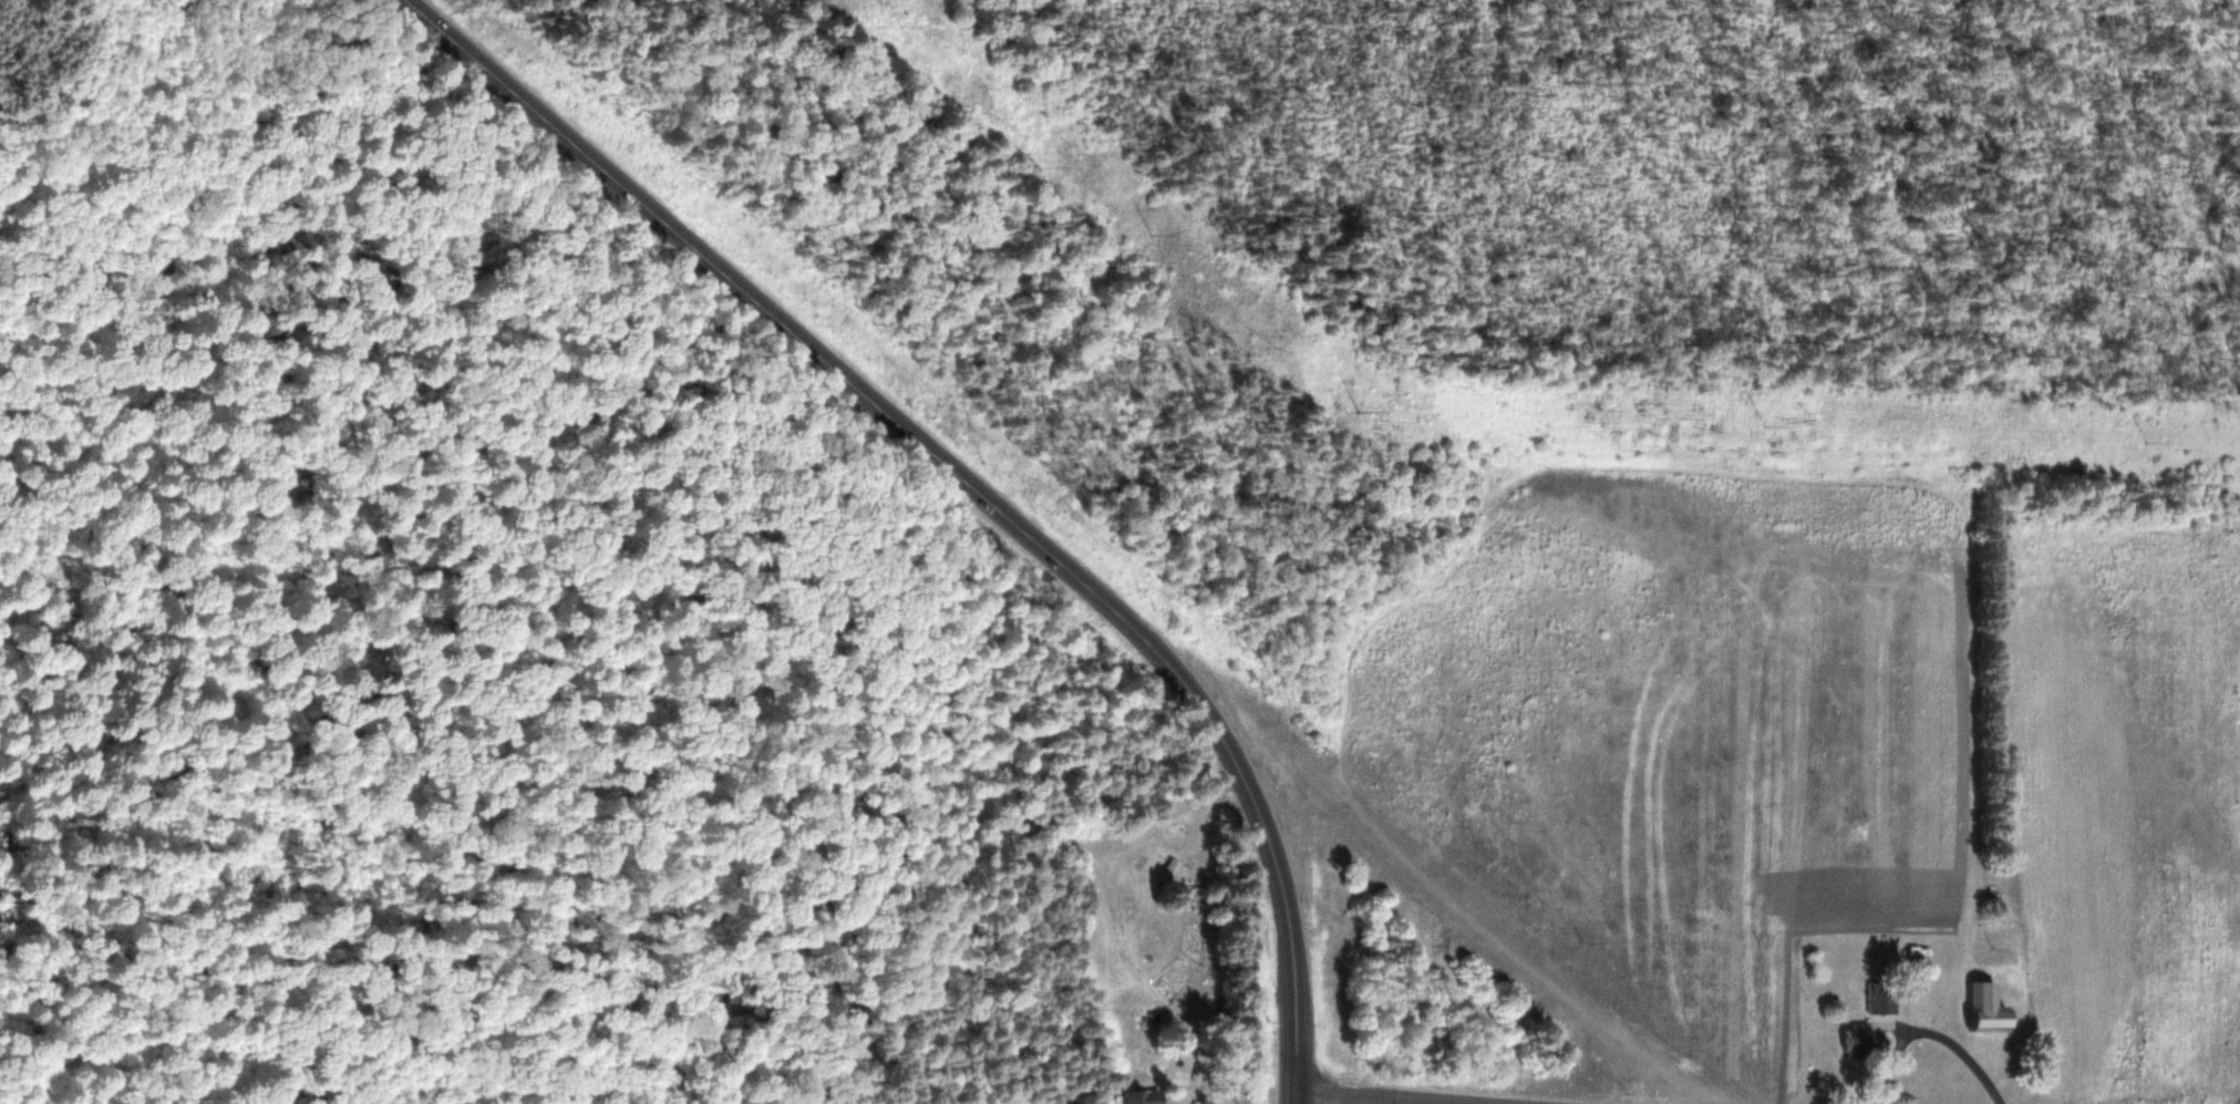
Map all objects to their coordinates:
road: (962, 478)
building: (1878, 1000)
building: (1980, 1008)
building: (1848, 1039)
road: (1296, 1098)
road: (1363, 1098)

